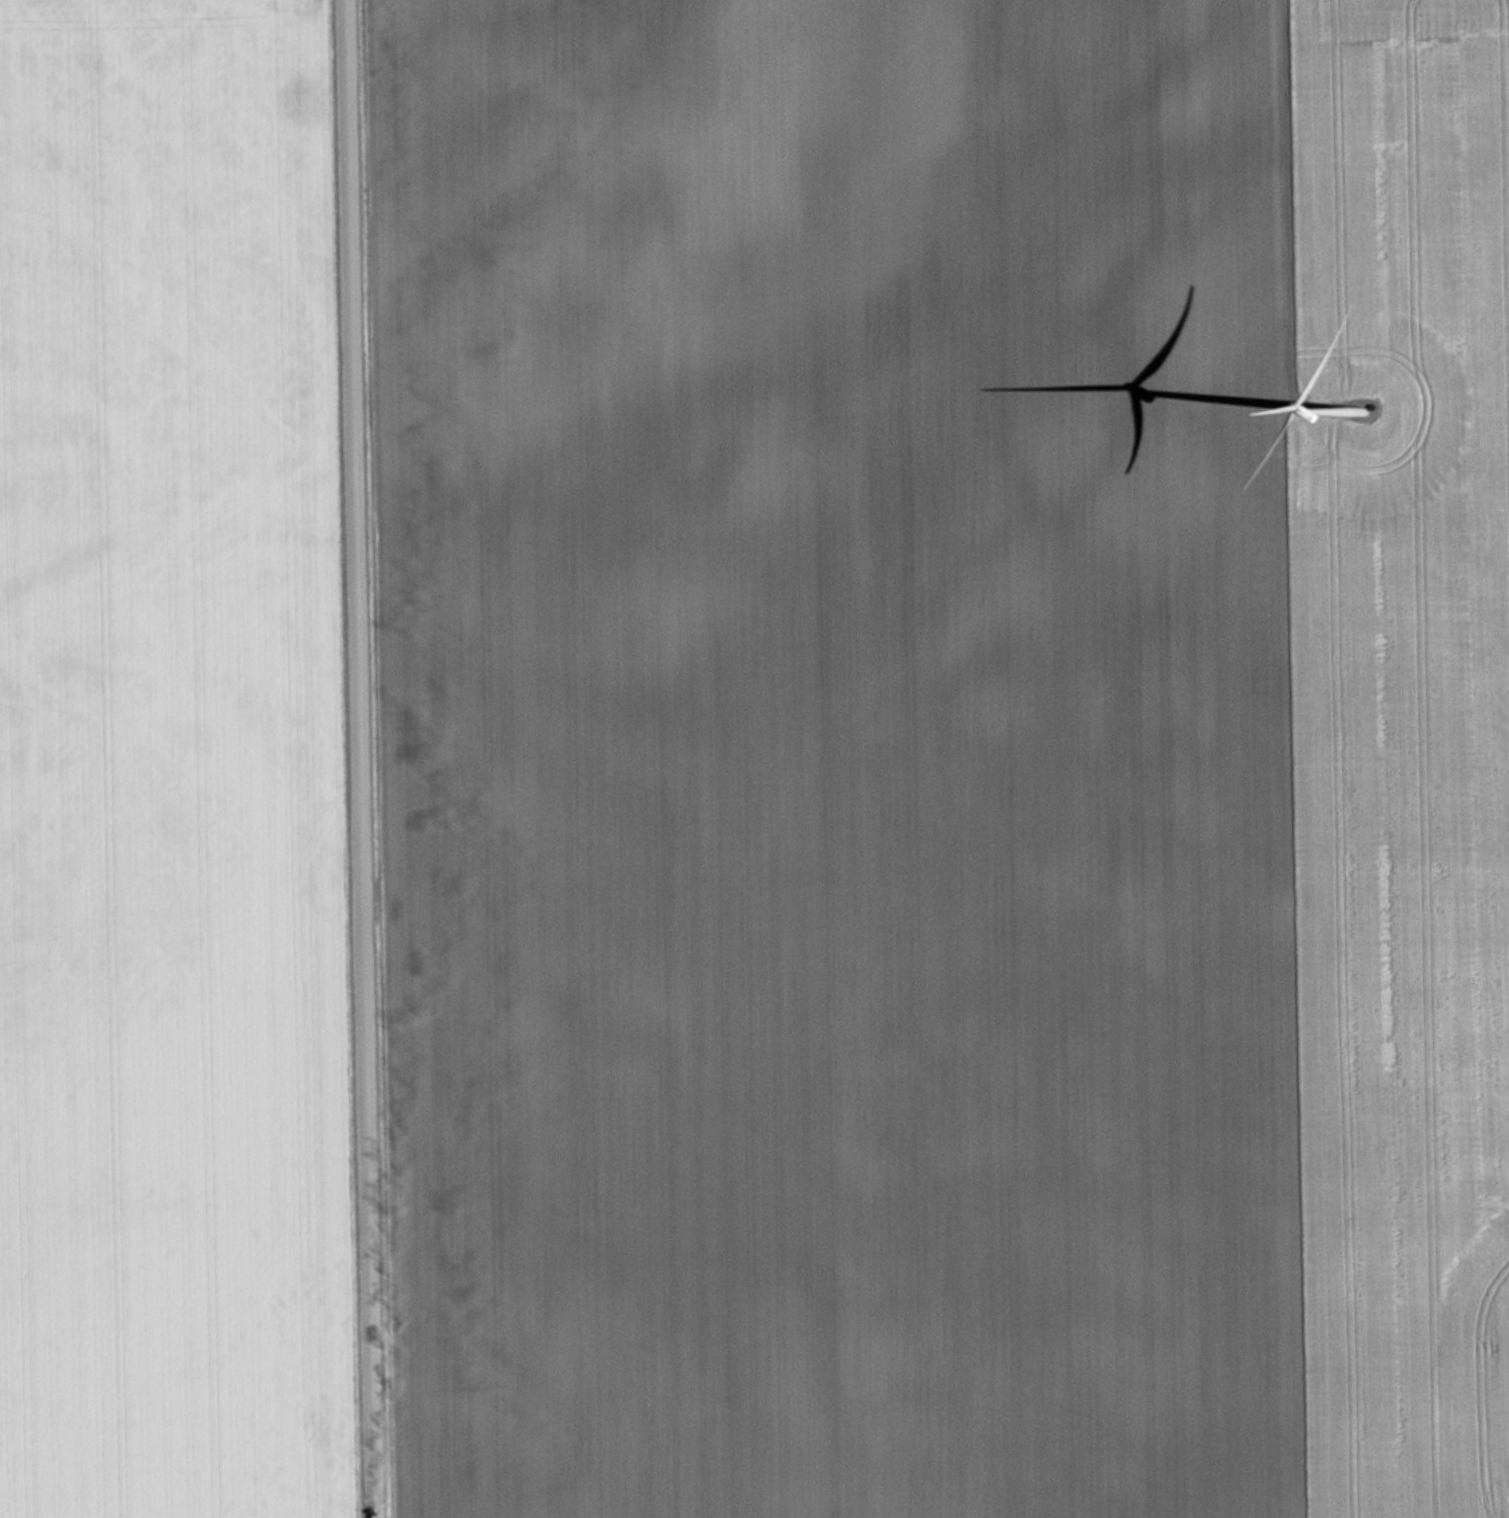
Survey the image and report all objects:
road: (1290, 186)
wind turbine: (1372, 404)
road: (366, 759)

